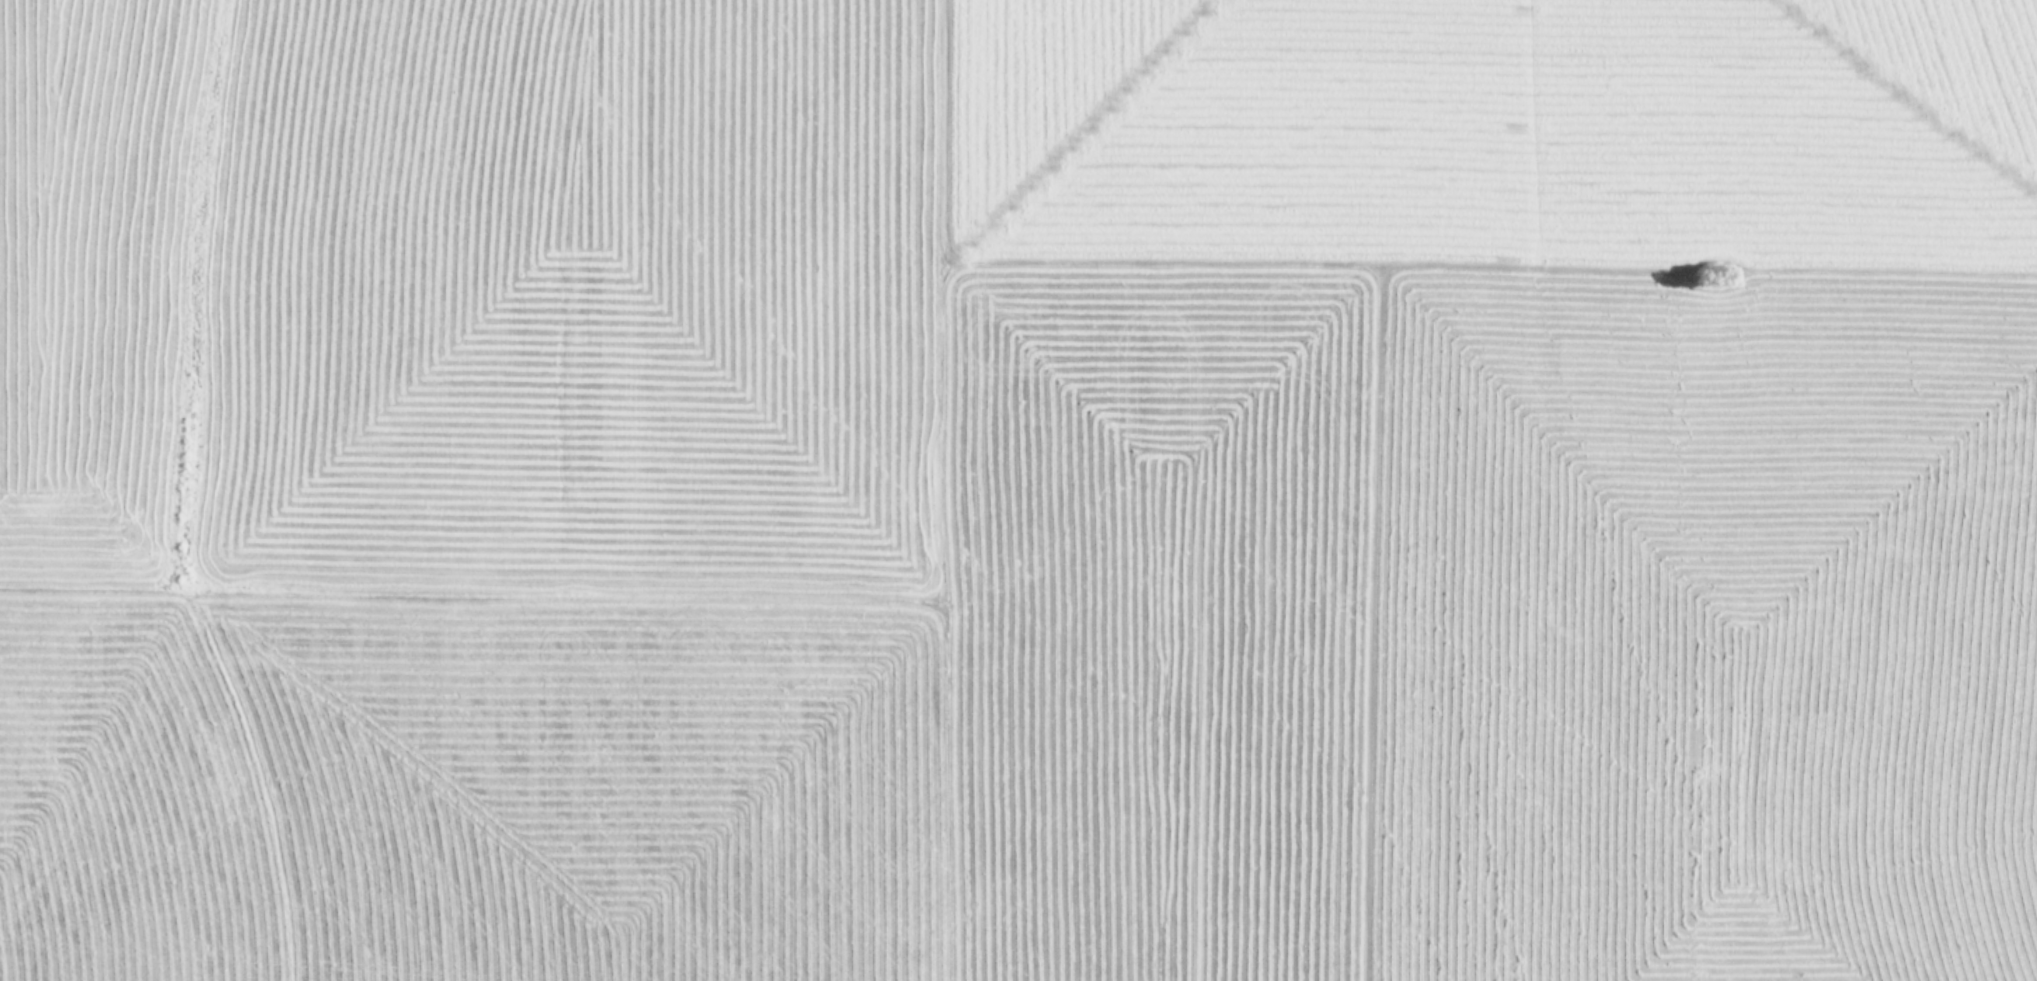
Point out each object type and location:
crop: (1018, 490)

